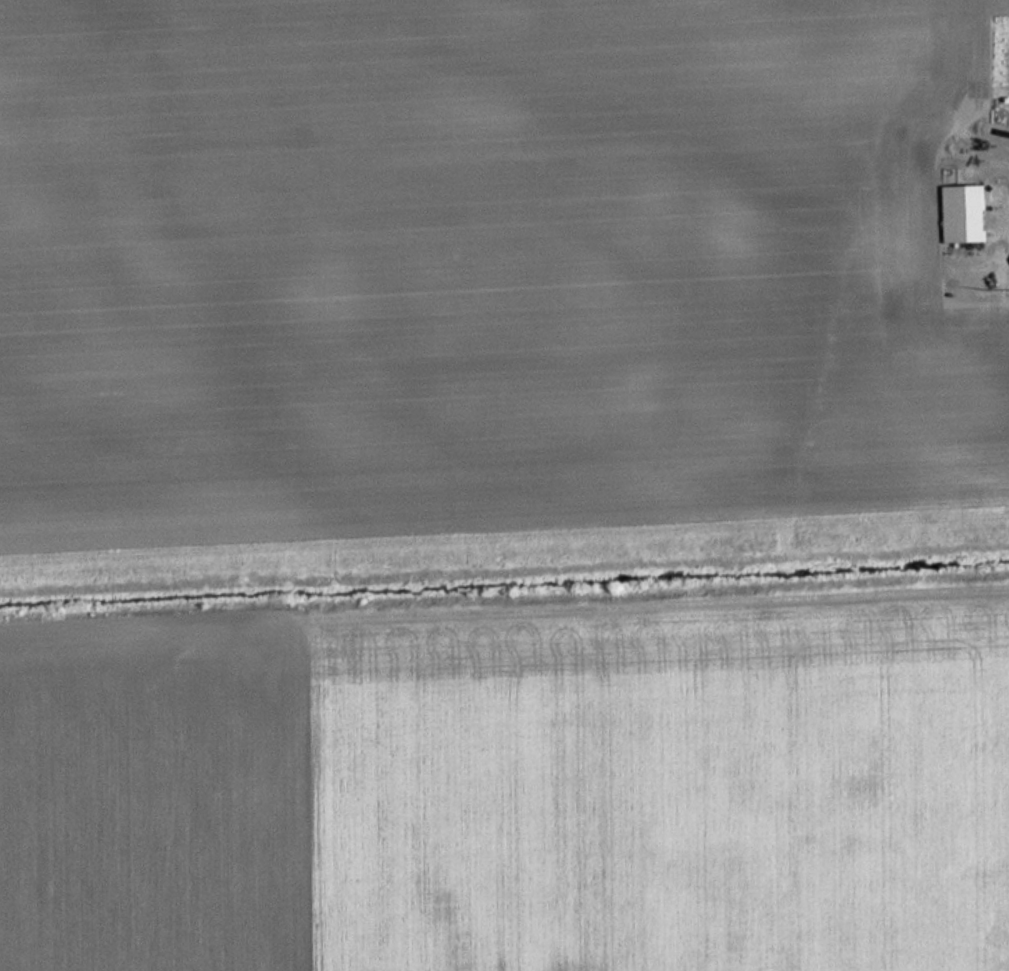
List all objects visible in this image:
building: (969, 214)

